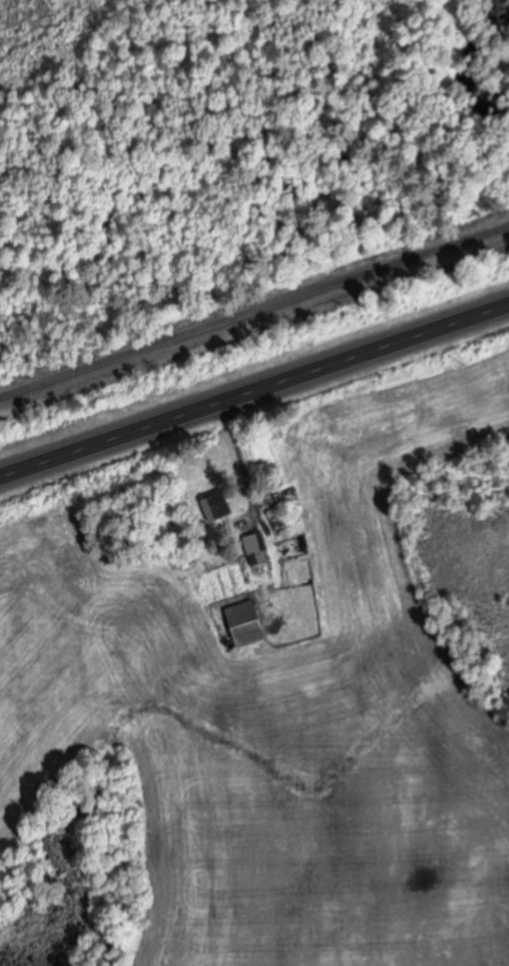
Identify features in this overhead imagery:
railway: (254, 309)
road: (254, 387)
building: (249, 621)

